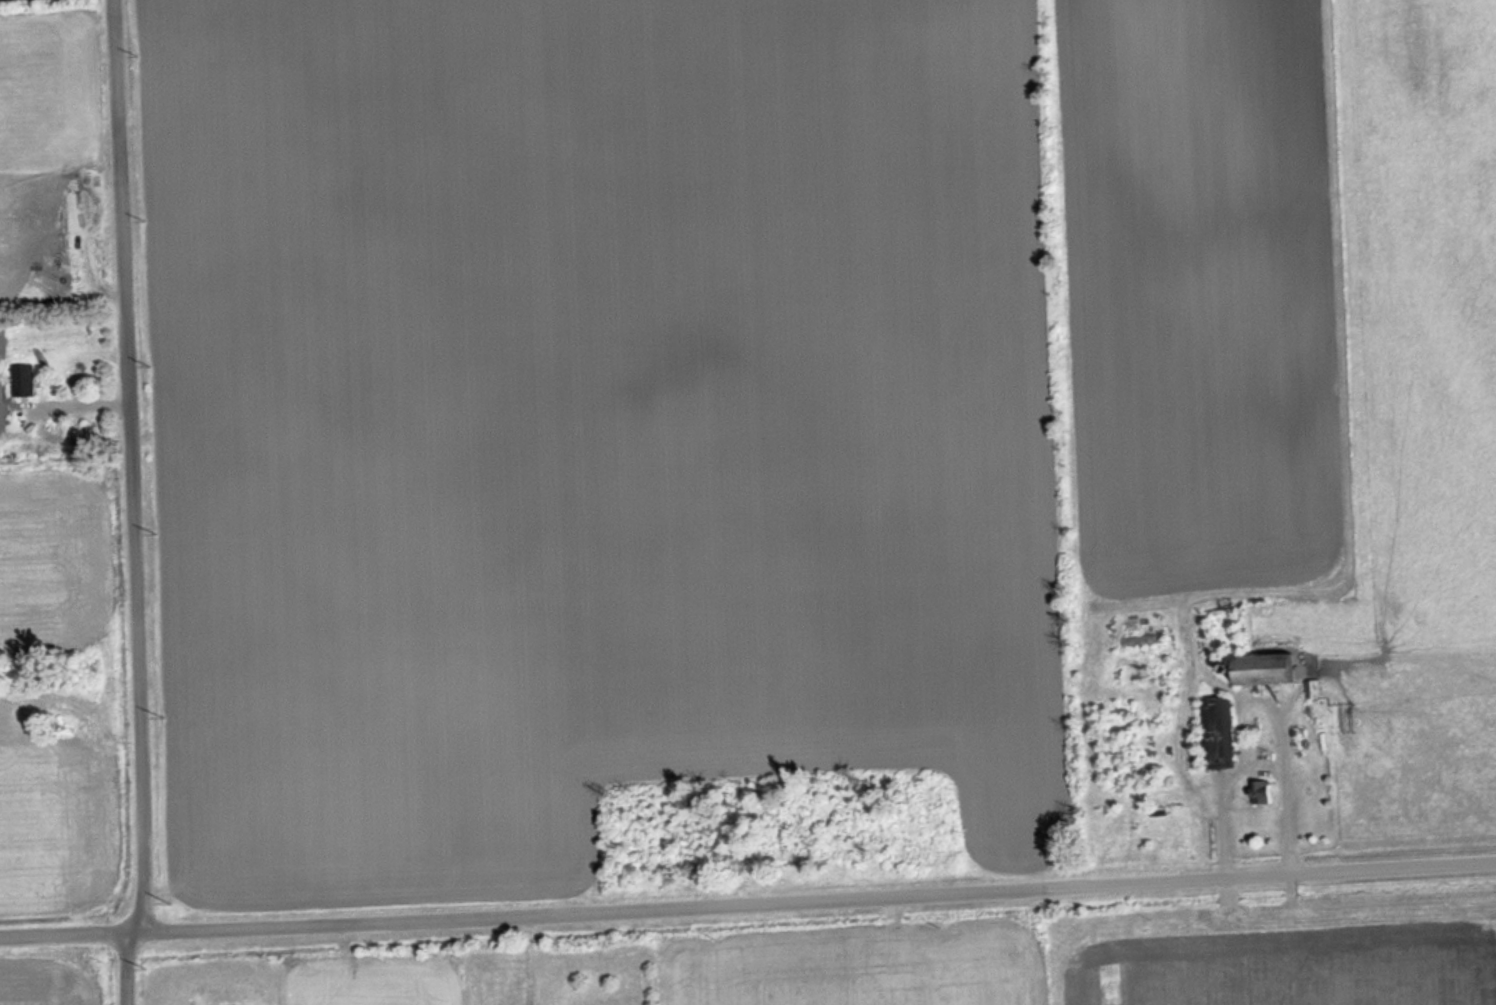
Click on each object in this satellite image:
building: (25, 379)
road: (127, 503)
building: (1146, 644)
building: (1270, 668)
building: (1219, 731)
building: (1264, 791)
road: (747, 904)

